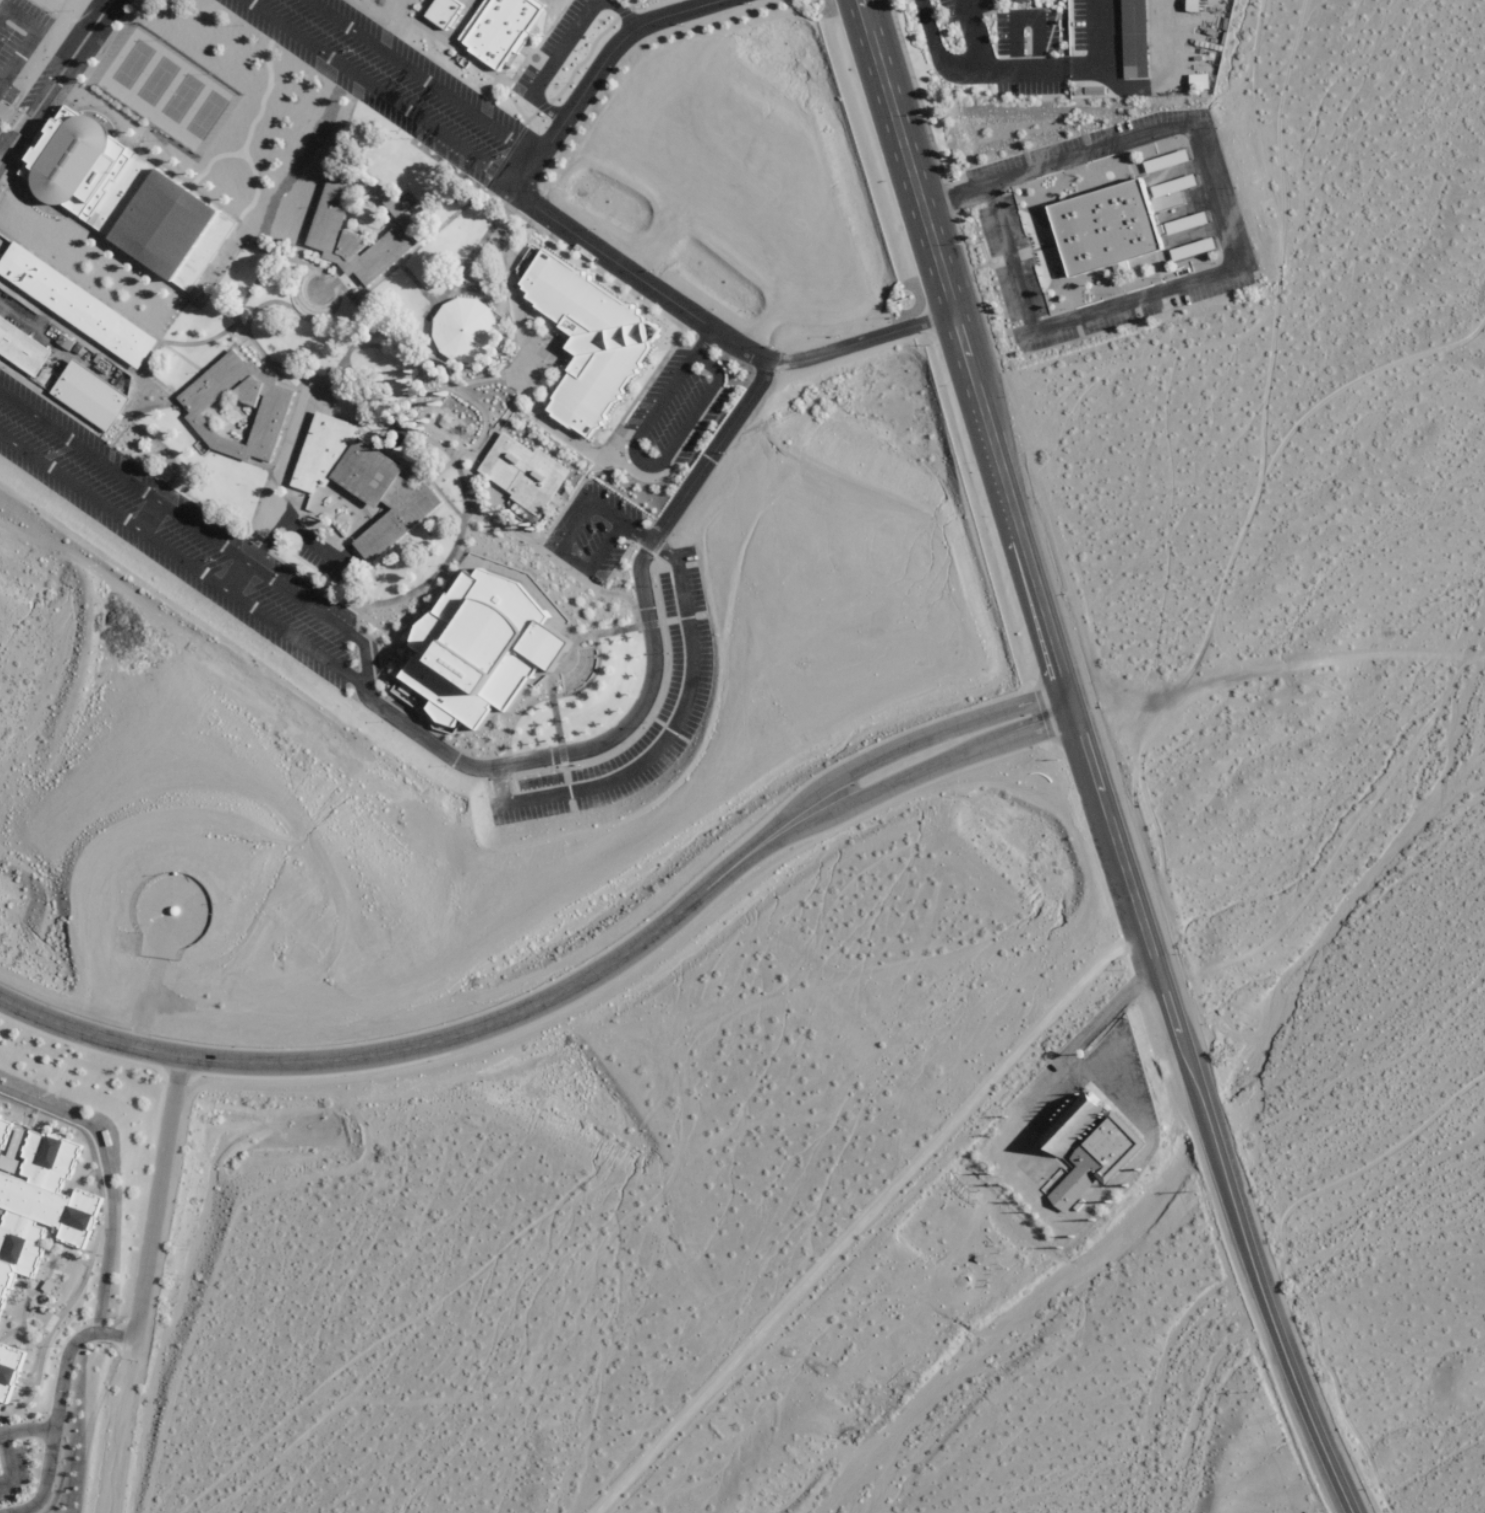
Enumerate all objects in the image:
building: (1021, 0)
road: (630, 4)
building: (1191, 5)
building: (441, 12)
road: (621, 13)
road: (1025, 17)
building: (498, 29)
road: (968, 32)
road: (31, 36)
building: (1131, 38)
parking lot: (17, 39)
road: (564, 43)
road: (536, 45)
parking lot: (552, 49)
road: (582, 60)
road: (1017, 63)
park: (132, 64)
road: (52, 74)
road: (420, 76)
parking lot: (387, 78)
building: (1197, 81)
park: (156, 82)
parking lot: (42, 91)
road: (379, 91)
road: (262, 98)
park: (181, 99)
road: (541, 106)
road: (515, 107)
park: (205, 115)
road: (530, 117)
road: (140, 135)
road: (29, 144)
road: (163, 153)
road: (905, 155)
road: (143, 156)
road: (503, 156)
road: (209, 161)
building: (72, 162)
road: (253, 187)
road: (482, 189)
road: (520, 197)
building: (159, 222)
building: (321, 225)
building: (1102, 228)
road: (1232, 234)
road: (548, 235)
road: (416, 245)
road: (269, 251)
road: (321, 268)
road: (250, 284)
road: (101, 301)
road: (263, 304)
building: (74, 305)
road: (509, 305)
road: (354, 306)
road: (165, 329)
building: (462, 329)
road: (69, 332)
road: (855, 335)
building: (583, 337)
road: (701, 341)
road: (199, 342)
building: (20, 349)
road: (961, 349)
road: (409, 350)
road: (268, 360)
road: (20, 379)
road: (157, 380)
road: (344, 382)
road: (460, 382)
road: (710, 385)
building: (87, 393)
road: (401, 397)
building: (272, 405)
road: (149, 407)
parking lot: (679, 407)
road: (119, 411)
road: (479, 414)
road: (495, 428)
road: (610, 438)
road: (163, 444)
road: (708, 448)
road: (591, 449)
building: (319, 452)
road: (452, 458)
road: (269, 464)
building: (363, 472)
building: (521, 473)
road: (442, 499)
road: (581, 501)
road: (152, 514)
building: (394, 517)
road: (196, 524)
road: (459, 525)
parking lot: (592, 531)
parking lot: (174, 534)
road: (1019, 541)
road: (180, 555)
road: (593, 563)
road: (239, 575)
road: (578, 577)
road: (423, 607)
building: (475, 649)
road: (549, 687)
parking lot: (684, 695)
road: (1029, 706)
road: (670, 724)
road: (574, 748)
road: (1121, 865)
road: (525, 993)
road: (1058, 1062)
building: (1085, 1144)
road: (105, 1180)
building: (36, 1200)
road: (864, 1216)
road: (1258, 1276)
road: (136, 1321)
building: (7, 1374)
road: (27, 1428)

